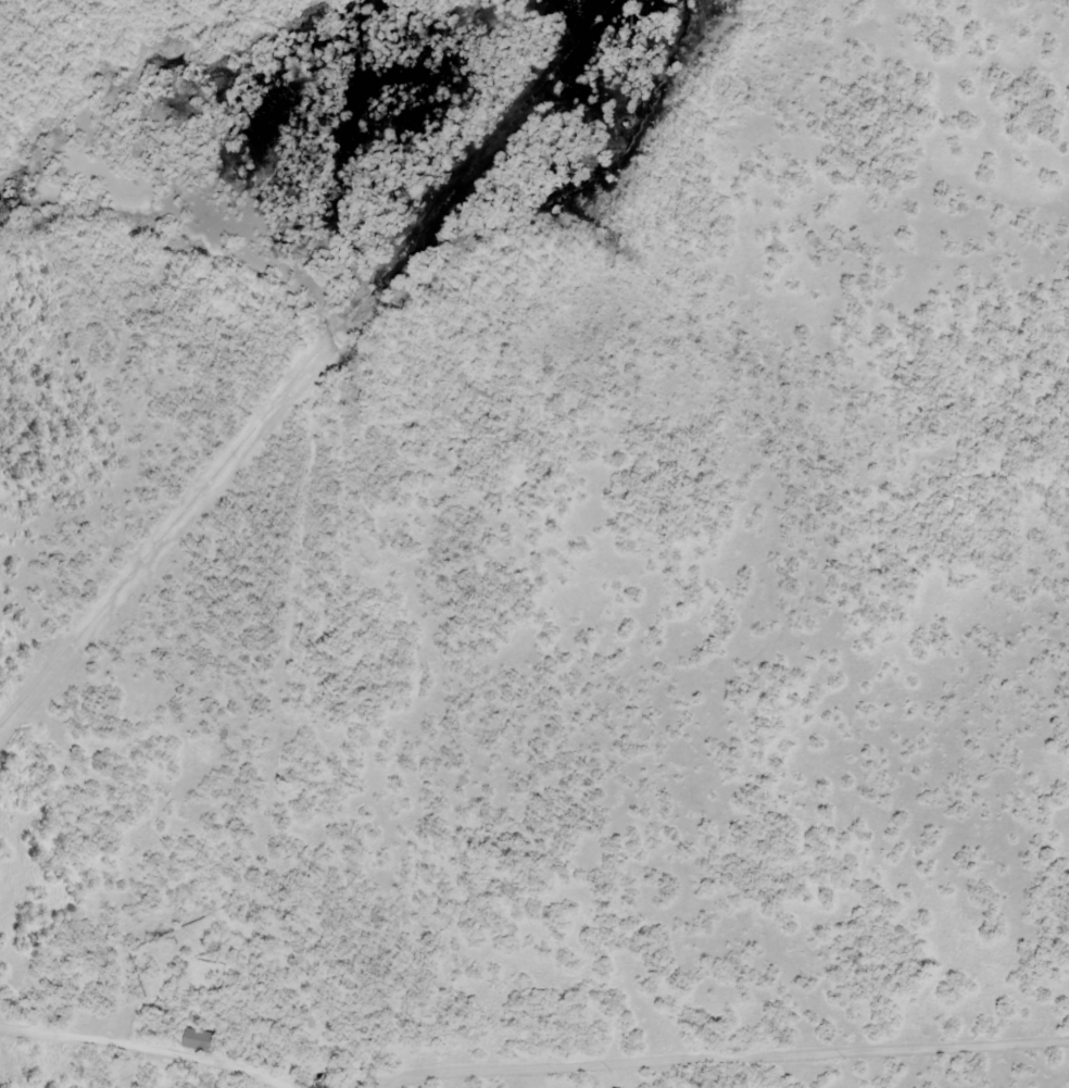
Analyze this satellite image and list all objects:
building: (201, 1043)

